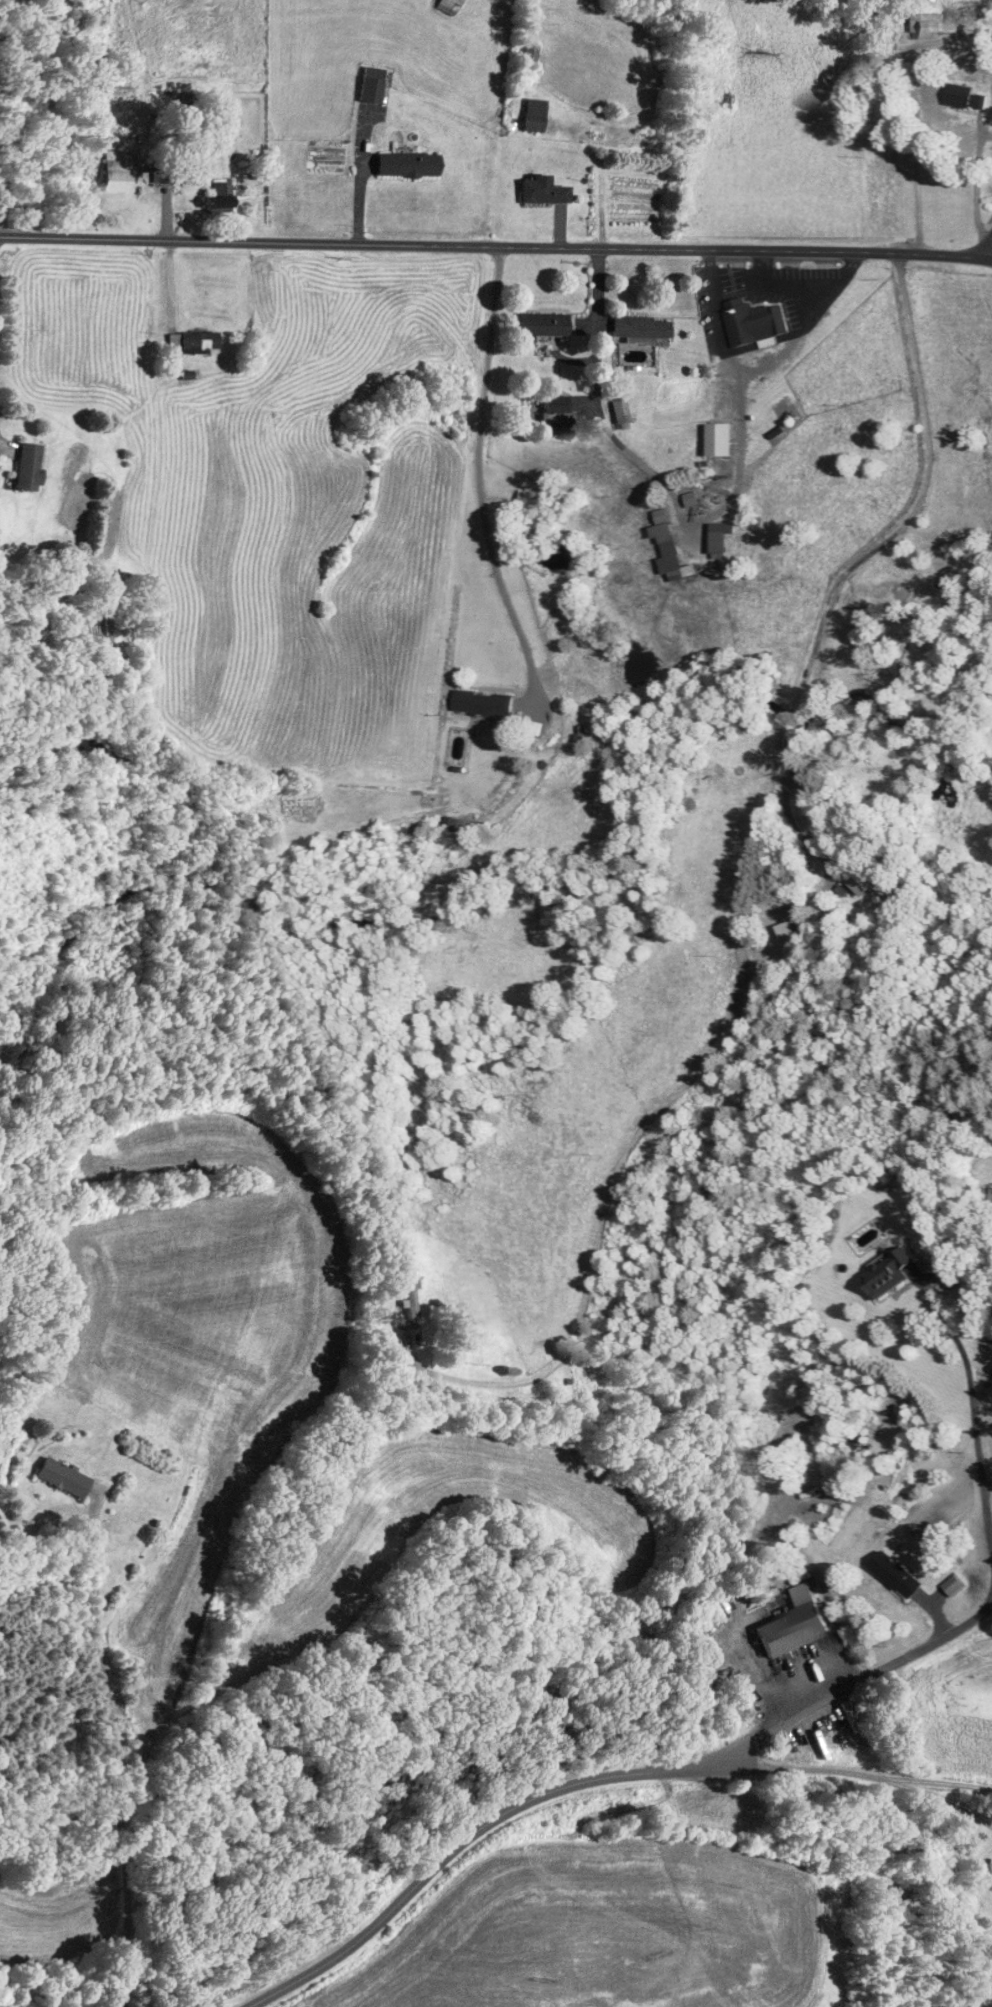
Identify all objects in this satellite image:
building: (449, 5)
building: (924, 24)
building: (529, 52)
building: (371, 84)
building: (969, 96)
building: (533, 121)
building: (408, 164)
building: (116, 170)
road: (948, 189)
building: (543, 191)
building: (219, 198)
road: (496, 246)
road: (987, 249)
road: (783, 286)
road: (717, 317)
building: (543, 324)
building: (750, 324)
building: (639, 327)
building: (192, 342)
building: (632, 354)
building: (620, 413)
building: (554, 415)
building: (29, 466)
road: (478, 485)
building: (532, 500)
road: (705, 520)
building: (722, 539)
building: (670, 545)
road: (860, 560)
building: (965, 588)
building: (485, 703)
building: (457, 825)
building: (868, 881)
building: (794, 934)
road: (616, 1163)
building: (892, 1274)
building: (411, 1295)
road: (989, 1379)
road: (982, 1386)
road: (972, 1398)
building: (857, 1439)
building: (64, 1476)
road: (988, 1482)
road: (990, 1539)
building: (898, 1574)
building: (953, 1585)
road: (985, 1612)
building: (796, 1623)
road: (108, 1754)
road: (805, 1768)
road: (606, 1775)
road: (937, 1781)
road: (938, 1799)

